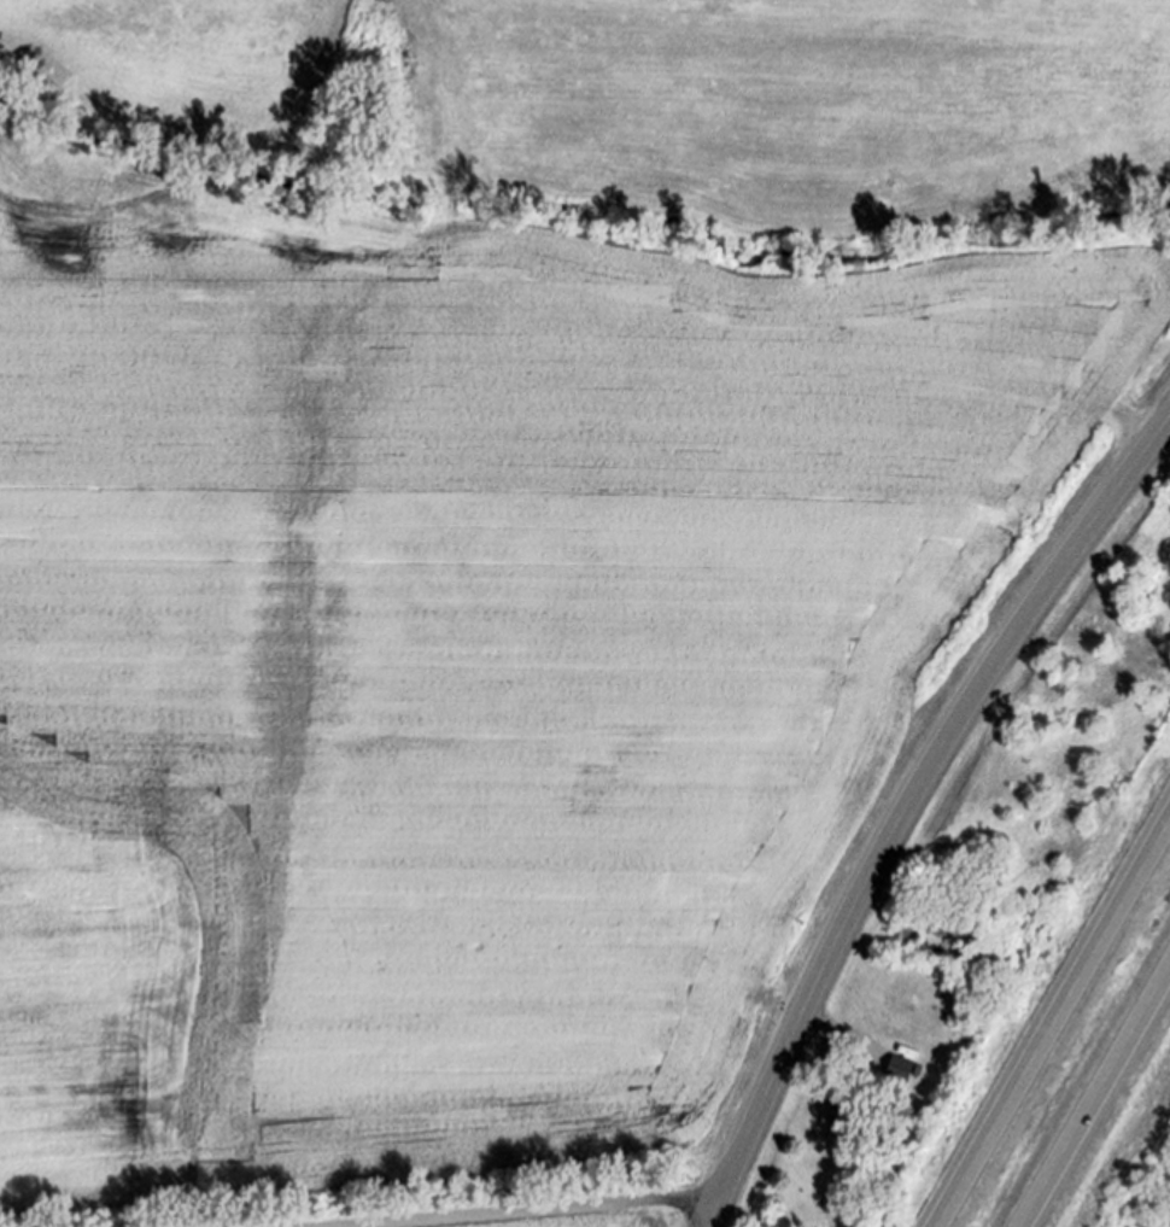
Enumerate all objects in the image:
road: (908, 805)
road: (1057, 1029)
road: (1098, 1102)
building: (846, 1106)
road: (537, 1210)

